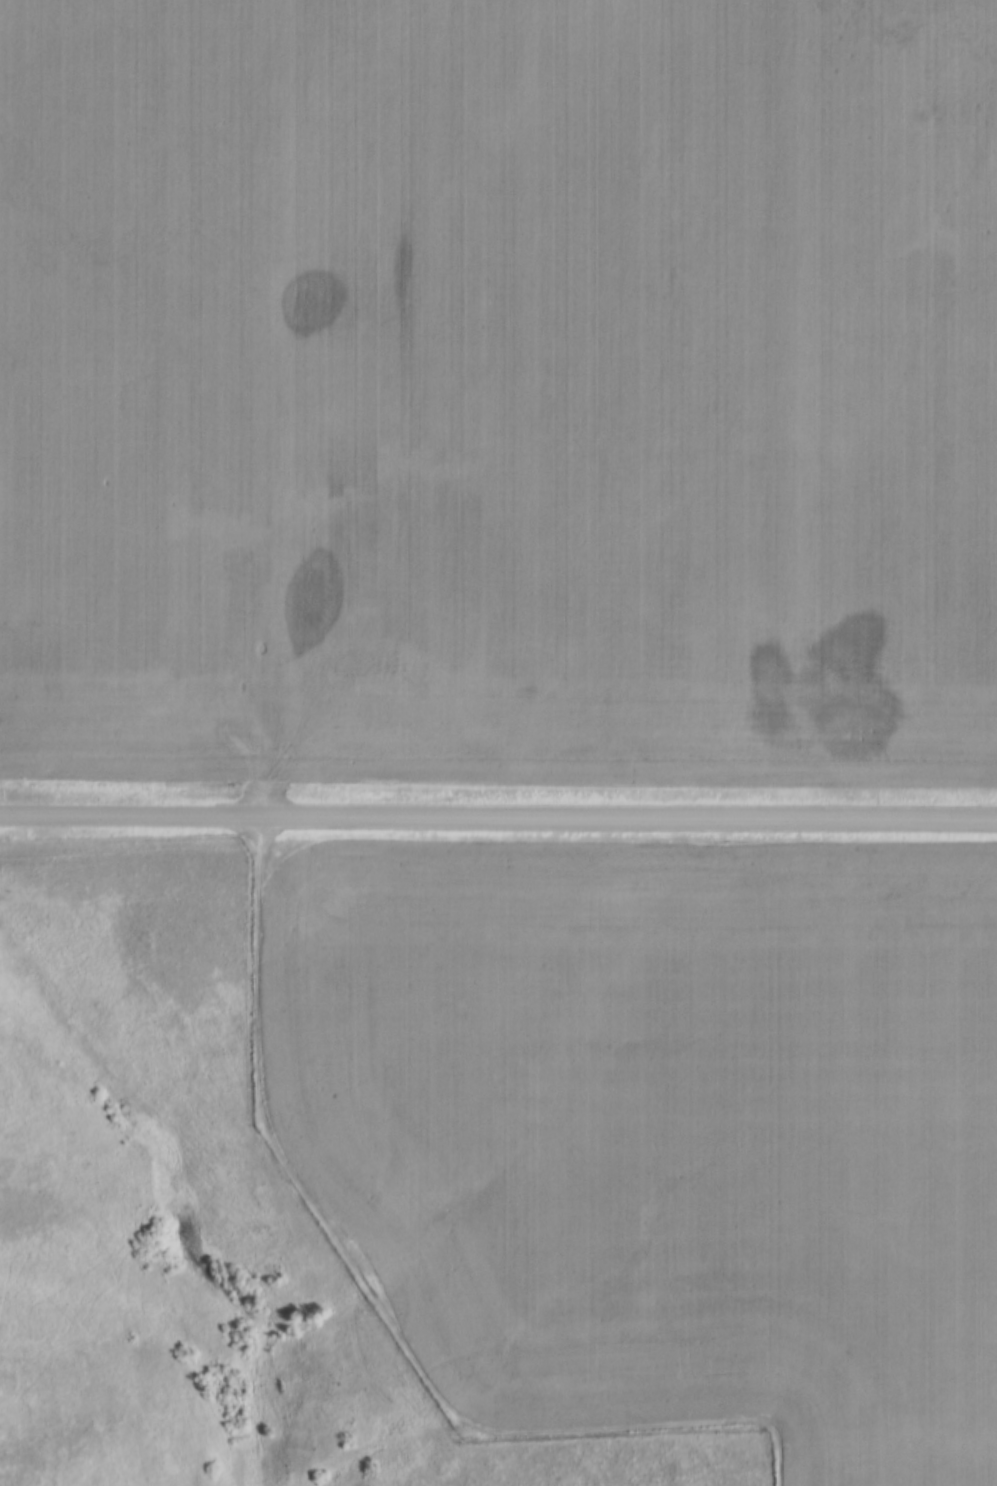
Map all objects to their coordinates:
road: (498, 812)

